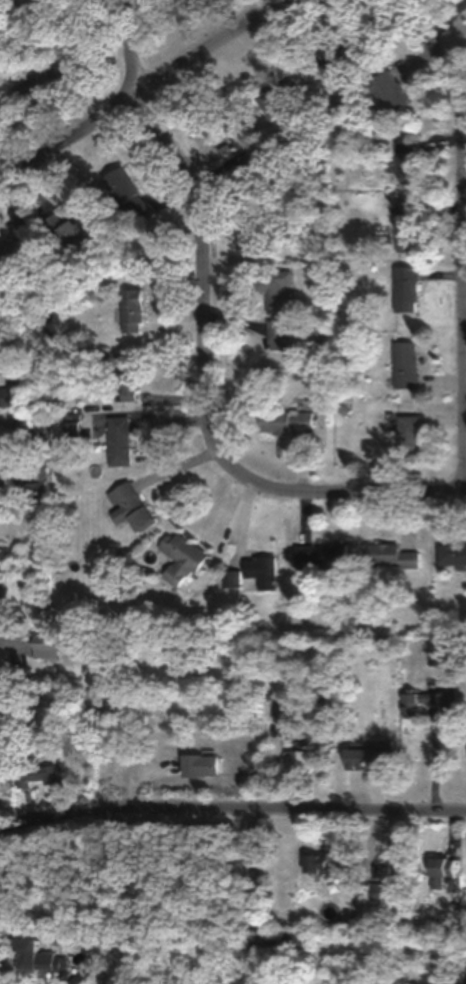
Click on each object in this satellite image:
building: (339, 54)
road: (187, 68)
building: (389, 90)
building: (278, 96)
building: (406, 159)
building: (126, 195)
road: (200, 216)
building: (406, 225)
building: (248, 233)
road: (464, 238)
building: (10, 251)
building: (274, 287)
building: (405, 289)
building: (132, 310)
building: (278, 334)
building: (405, 364)
building: (127, 376)
building: (8, 396)
building: (282, 420)
building: (72, 429)
building: (31, 431)
building: (407, 434)
building: (119, 440)
building: (44, 480)
road: (333, 493)
building: (128, 506)
building: (451, 554)
building: (323, 555)
building: (389, 555)
building: (181, 556)
building: (262, 570)
building: (0, 575)
building: (233, 578)
building: (46, 648)
building: (299, 754)
building: (384, 758)
building: (199, 764)
road: (231, 809)
building: (323, 865)
building: (440, 869)
building: (396, 870)
road: (257, 896)
building: (32, 955)

